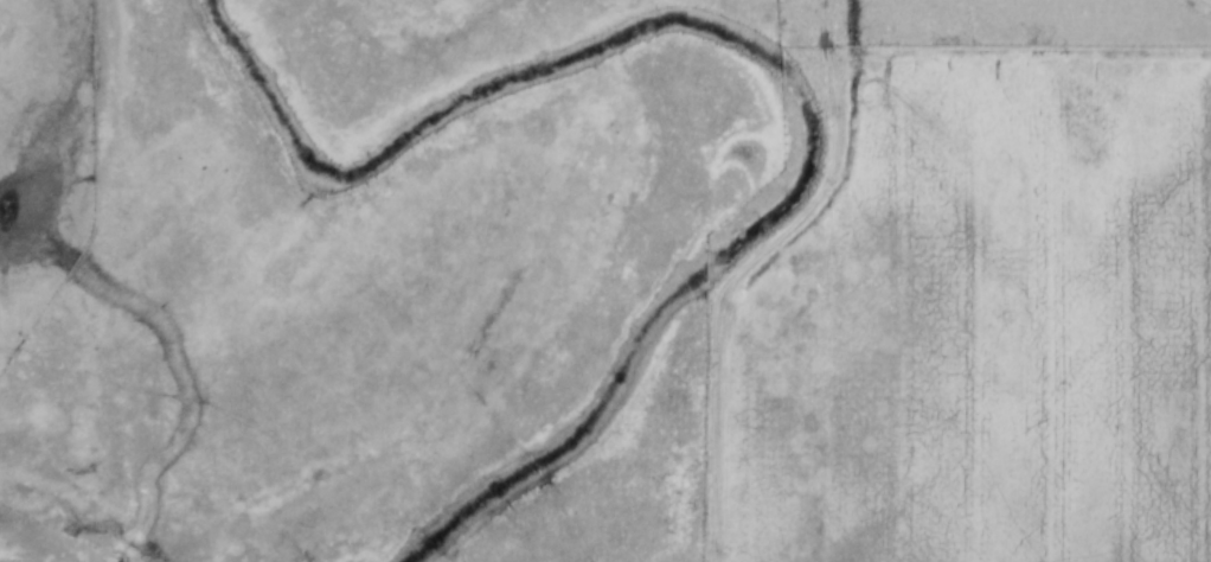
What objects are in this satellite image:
crop: (46, 136)
crop: (374, 260)
crop: (20, 312)
crop: (981, 325)
crop: (617, 467)

